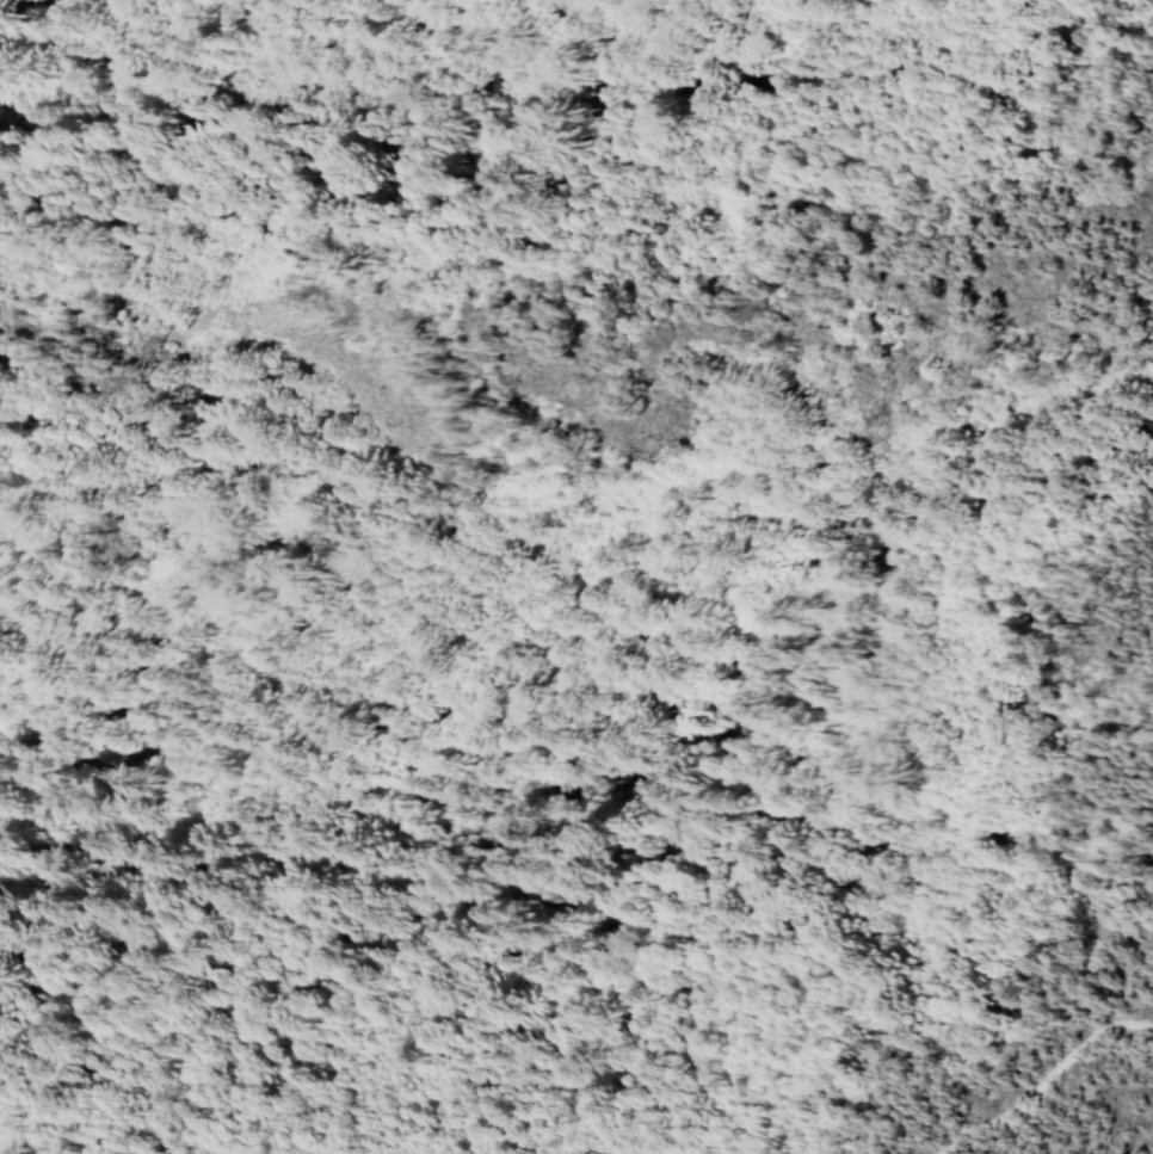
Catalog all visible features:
road: (1041, 1072)
road: (1001, 1128)

